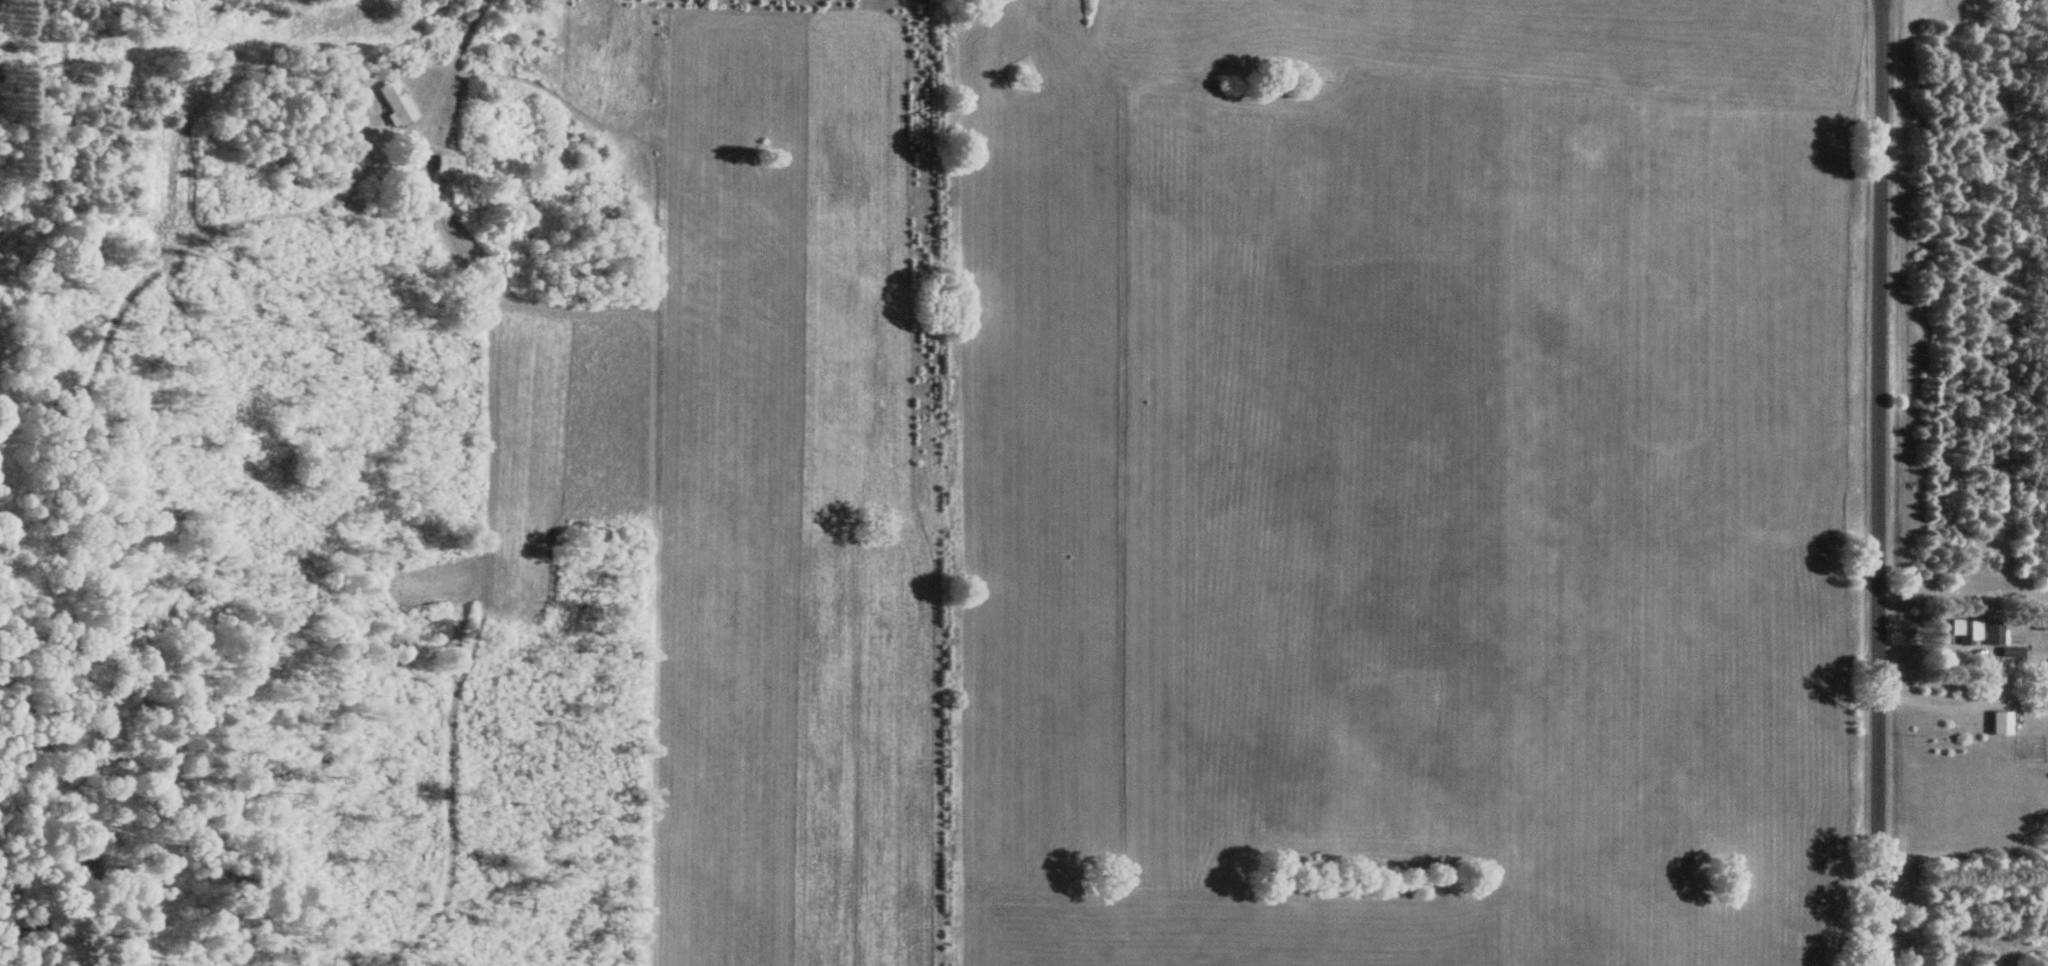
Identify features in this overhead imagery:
building: (393, 102)
building: (442, 165)
road: (1867, 482)
building: (1992, 634)
building: (2010, 653)
building: (1998, 723)

